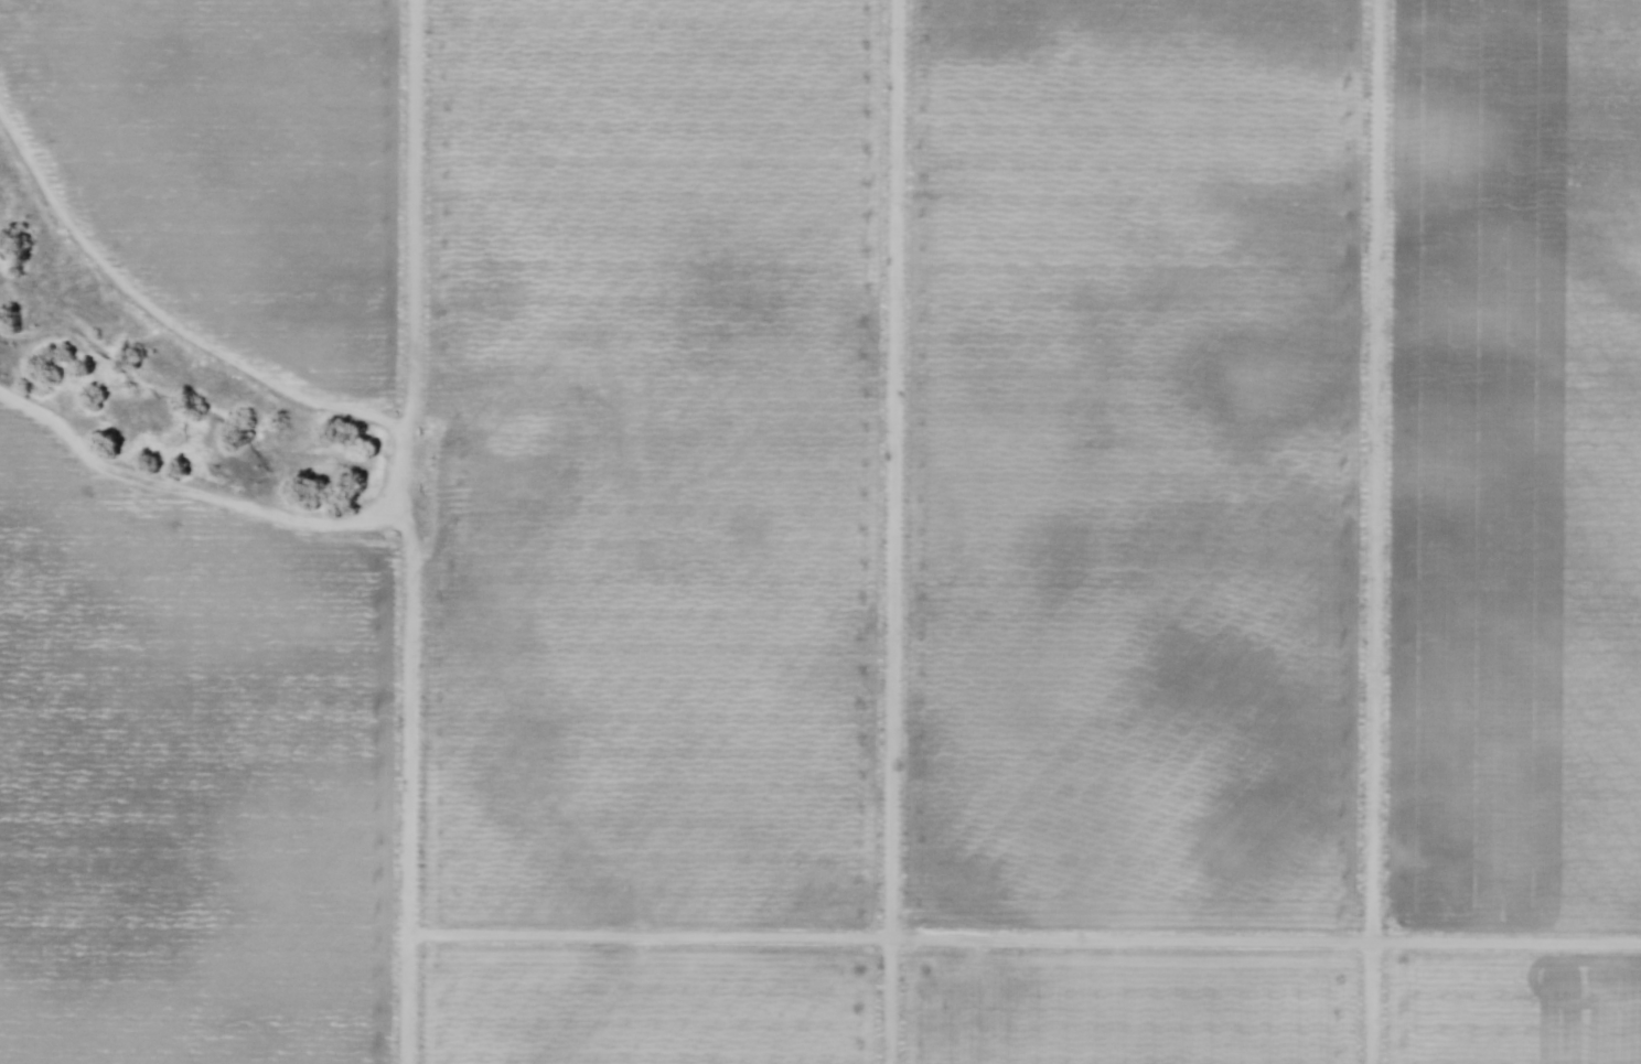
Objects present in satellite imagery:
road: (163, 322)
road: (190, 493)
road: (408, 531)
road: (893, 531)
road: (1376, 531)
road: (1026, 941)

